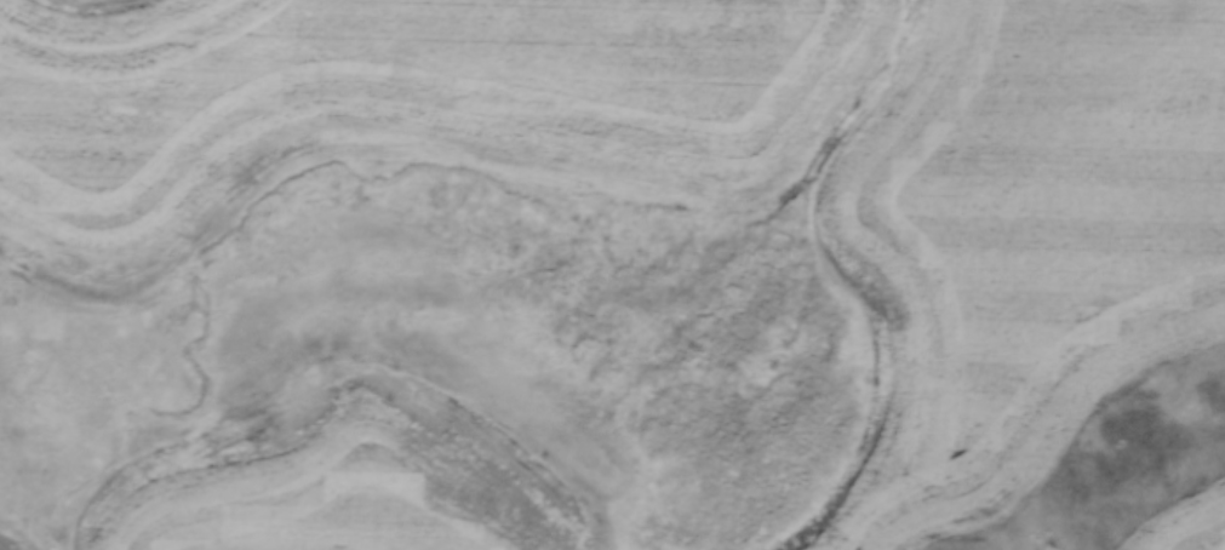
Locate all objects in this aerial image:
road: (1069, 448)

